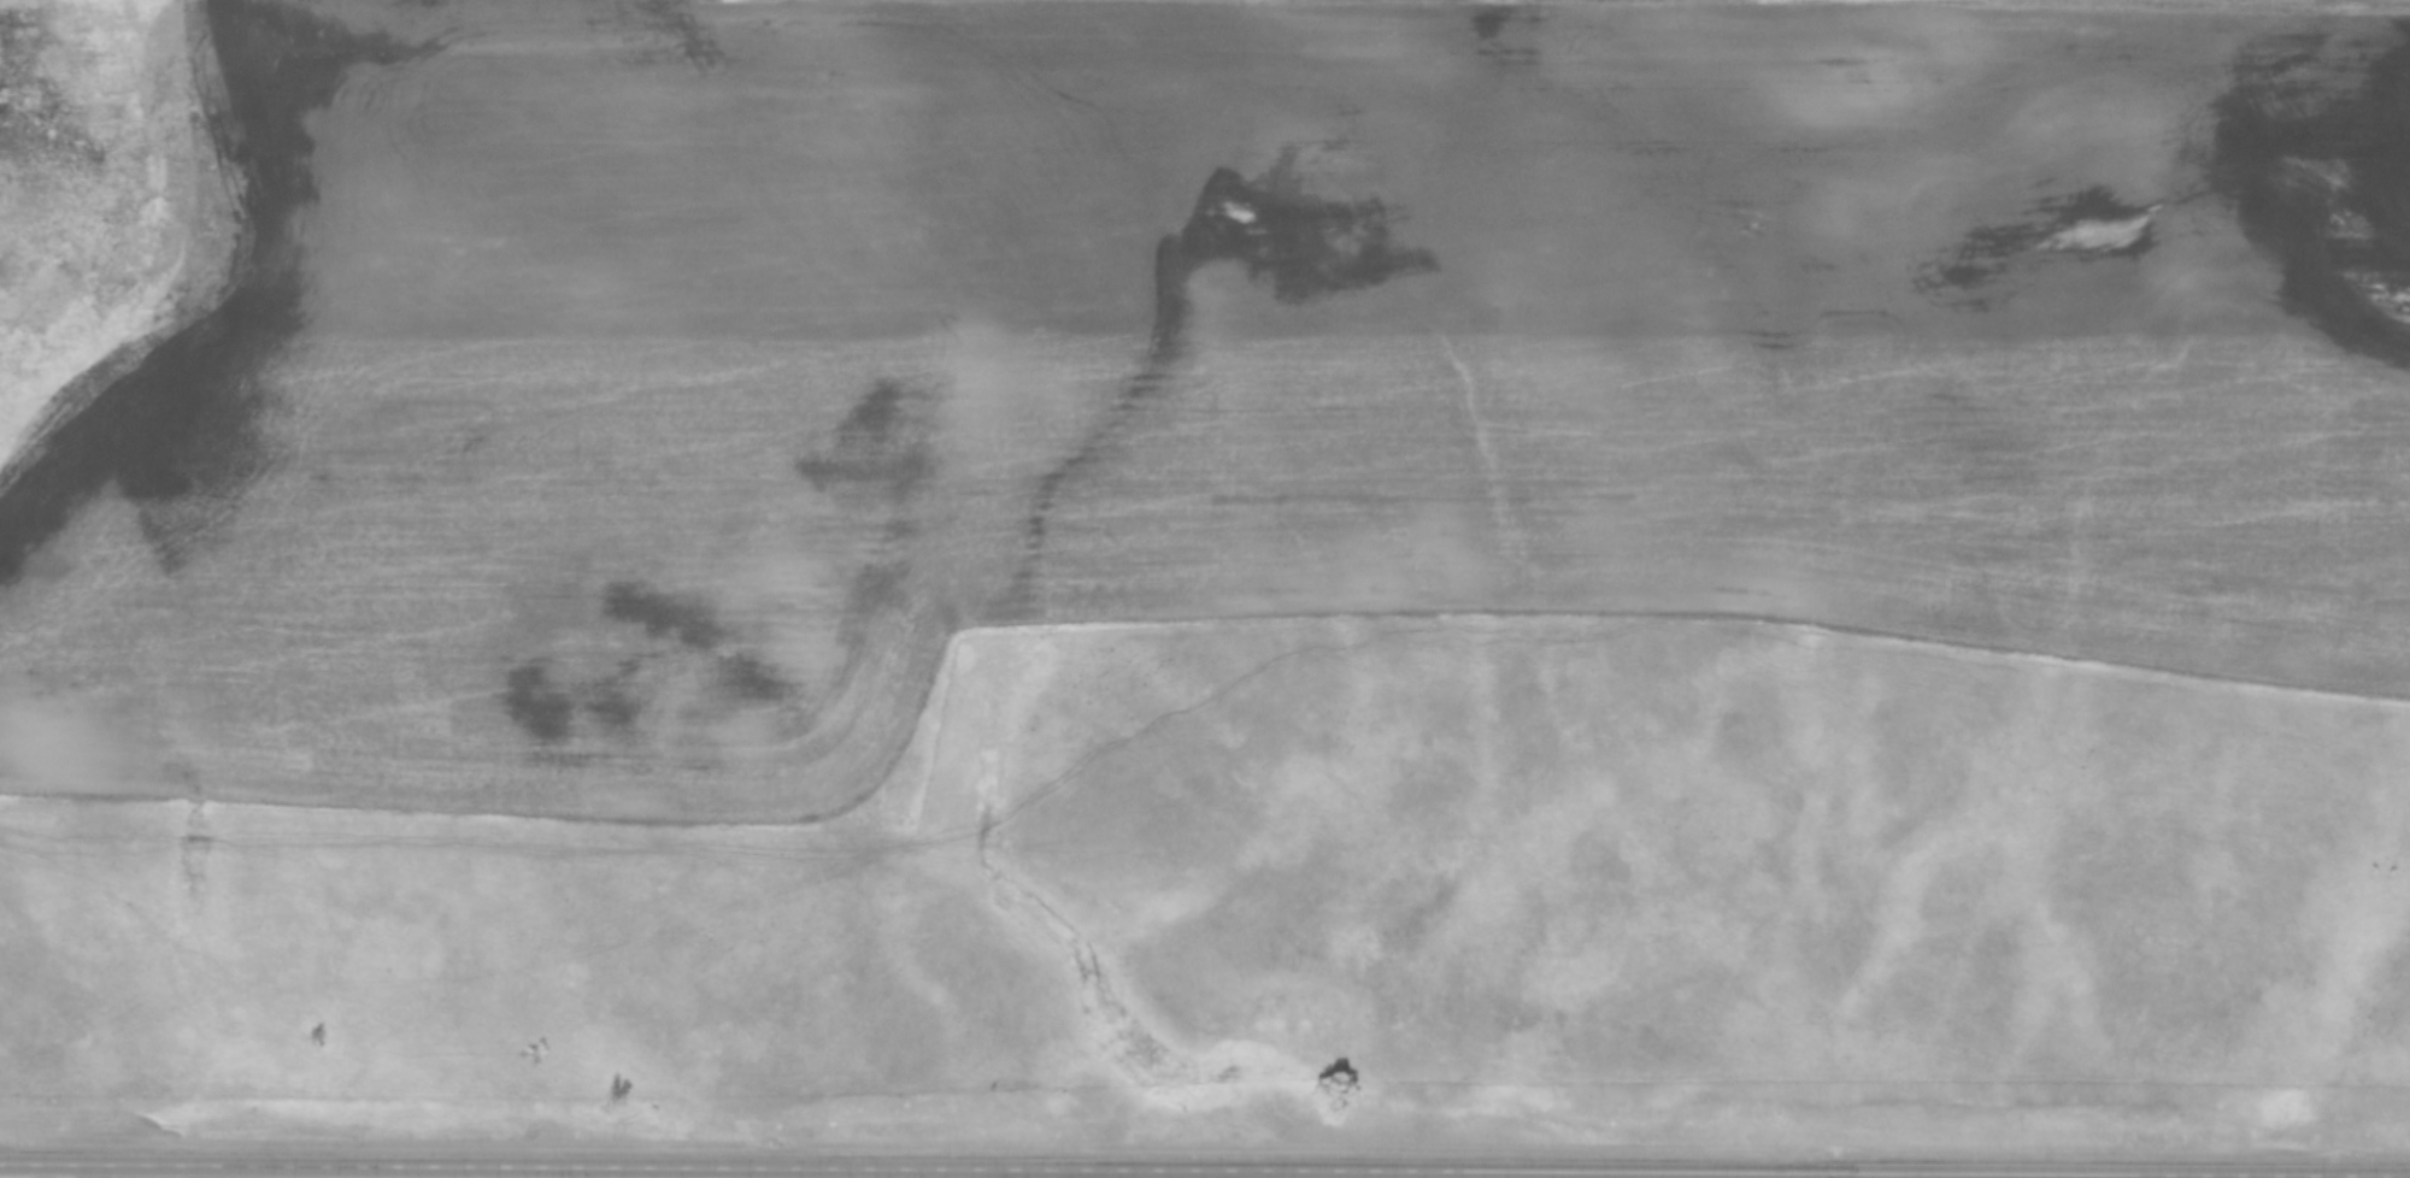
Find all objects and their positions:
road: (1197, 1172)

